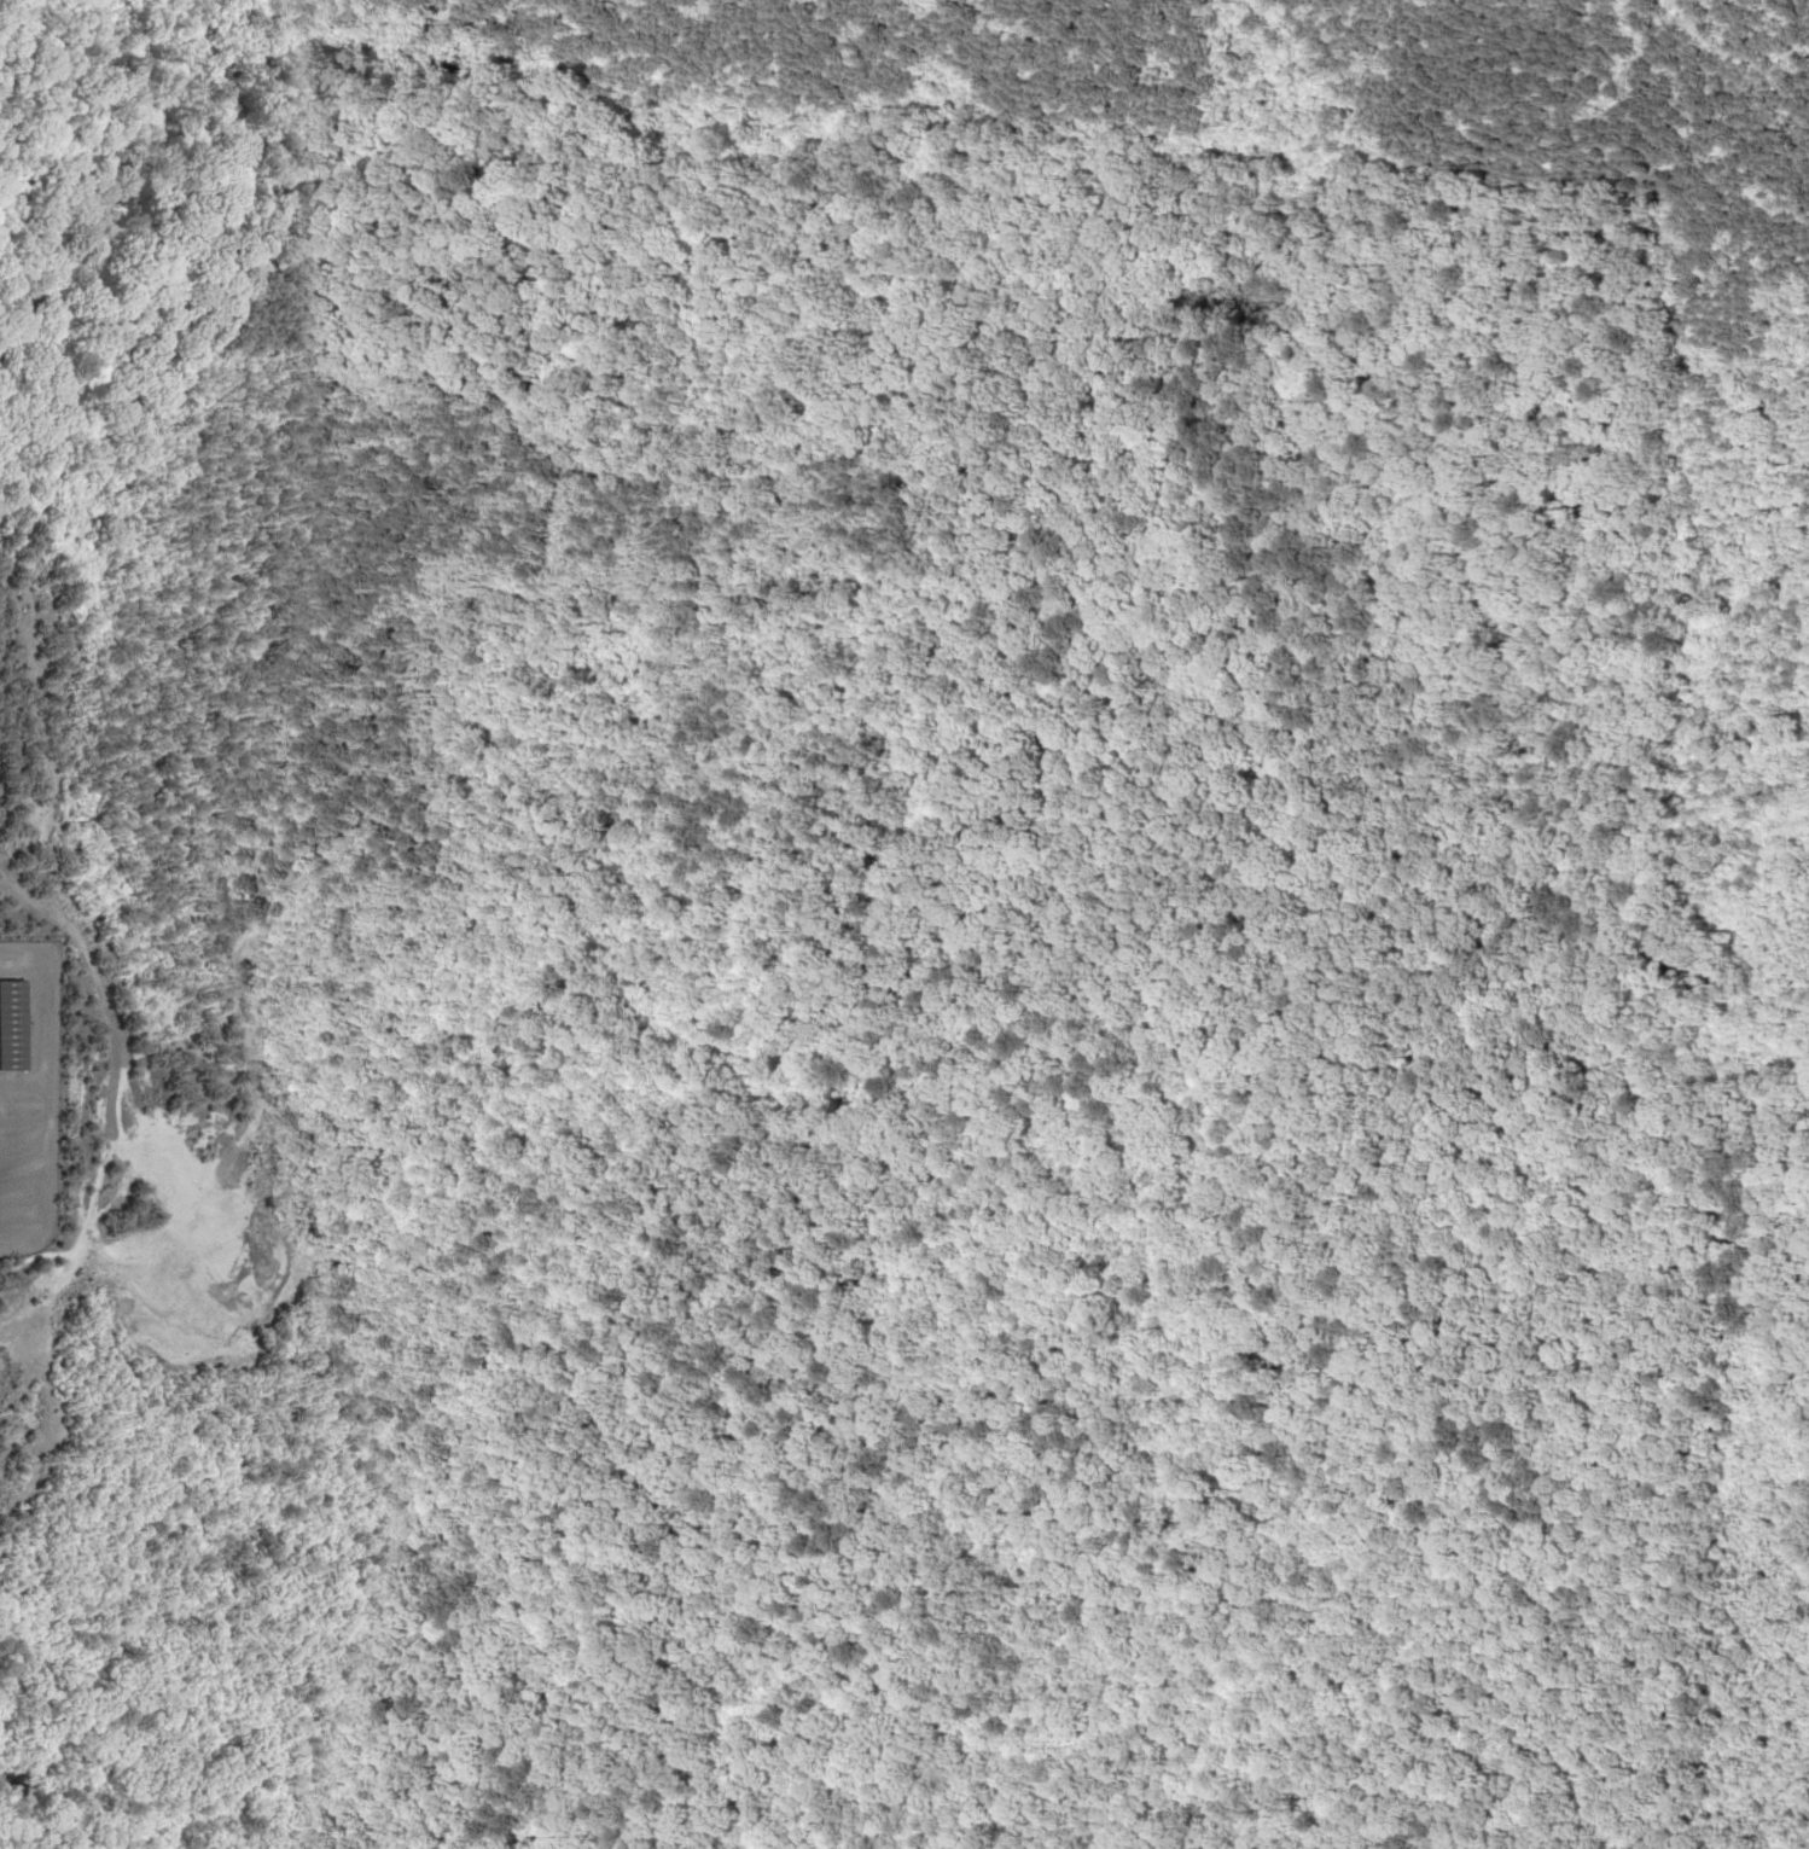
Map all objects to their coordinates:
building: (10, 1023)

